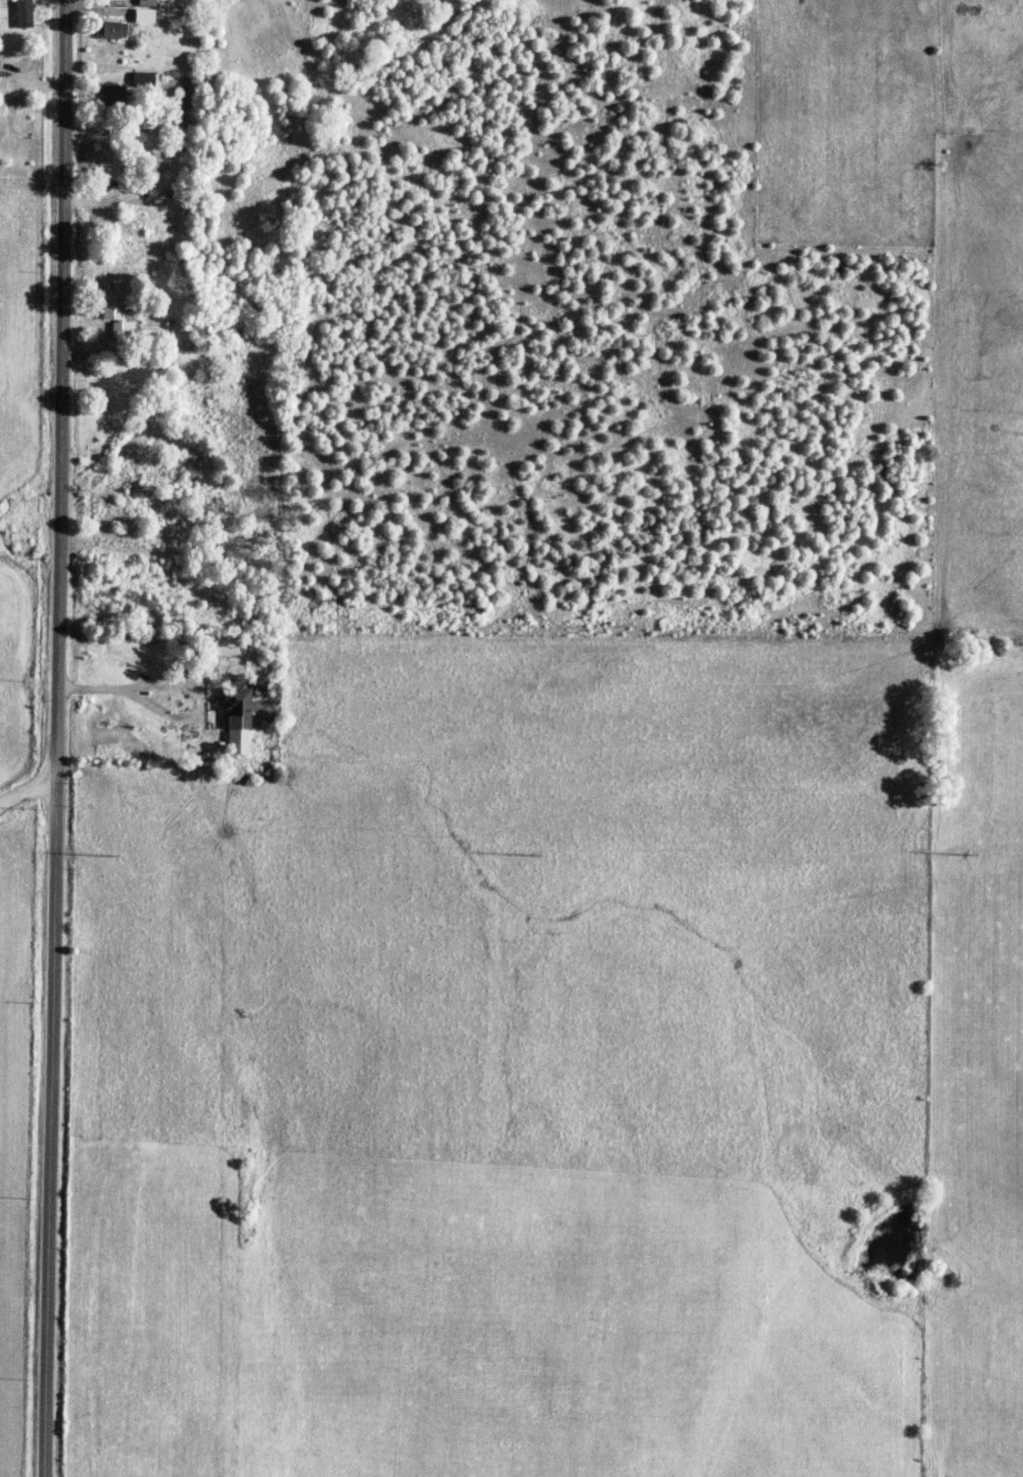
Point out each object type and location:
building: (23, 14)
building: (144, 16)
building: (111, 30)
building: (142, 82)
building: (110, 96)
building: (0, 97)
building: (106, 171)
building: (114, 310)
building: (230, 667)
building: (236, 720)
road: (40, 738)
road: (20, 819)

